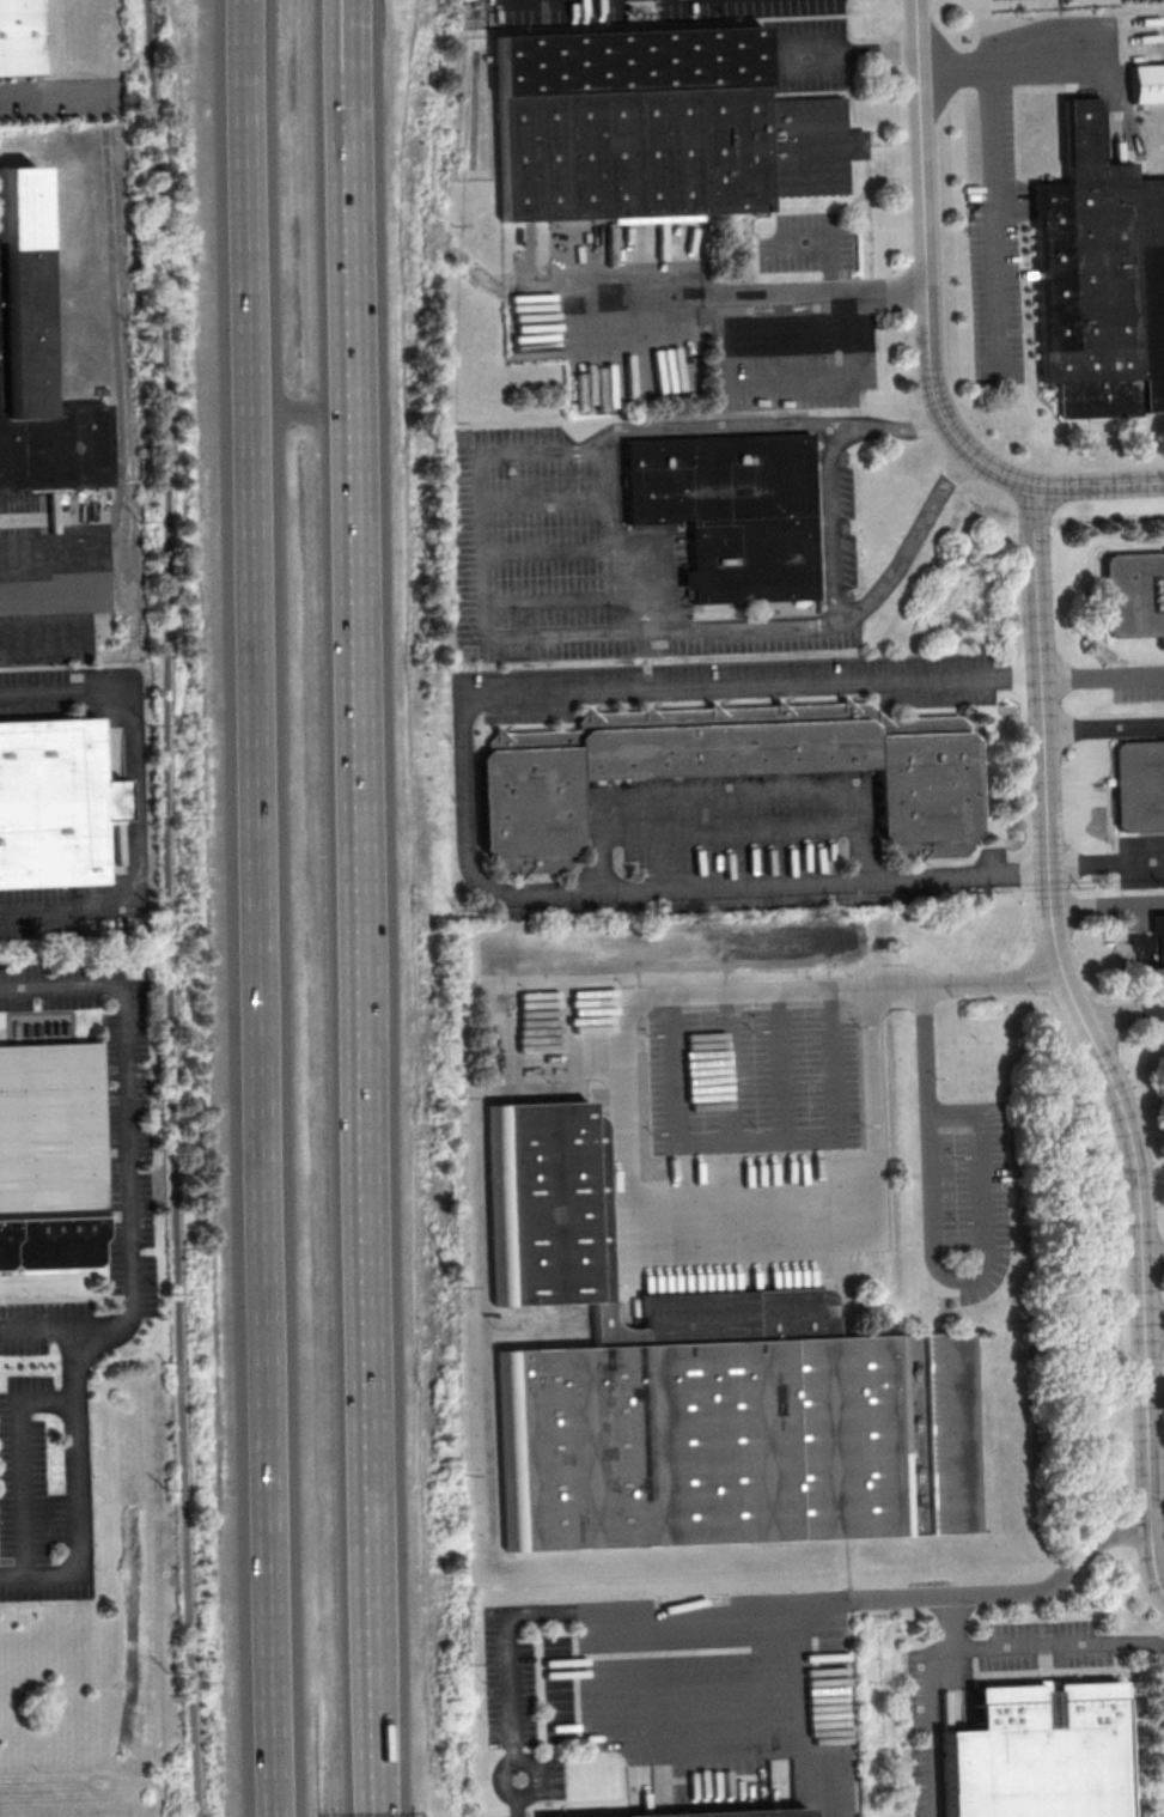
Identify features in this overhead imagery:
road: (574, 4)
building: (19, 39)
road: (345, 39)
road: (348, 39)
road: (855, 55)
road: (1011, 62)
building: (1147, 85)
road: (38, 93)
building: (654, 127)
road: (993, 218)
road: (823, 235)
road: (352, 245)
building: (1101, 276)
road: (812, 287)
road: (617, 296)
road: (926, 333)
road: (621, 345)
building: (36, 371)
road: (751, 381)
road: (303, 412)
road: (723, 430)
road: (543, 498)
building: (732, 513)
road: (611, 546)
road: (546, 548)
road: (481, 552)
road: (830, 578)
road: (38, 589)
building: (1134, 595)
road: (548, 600)
road: (746, 627)
road: (65, 639)
road: (1103, 674)
road: (1104, 725)
building: (726, 770)
building: (1139, 788)
road: (461, 791)
road: (729, 794)
road: (135, 801)
building: (50, 806)
road: (730, 832)
parking lot: (729, 863)
road: (1107, 869)
road: (170, 907)
road: (1109, 907)
road: (258, 908)
building: (1148, 950)
road: (362, 999)
road: (1123, 1011)
road: (1092, 1038)
road: (782, 1069)
road: (730, 1071)
road: (754, 1141)
road: (627, 1147)
building: (50, 1155)
road: (1153, 1258)
road: (932, 1264)
road: (138, 1274)
road: (1154, 1323)
road: (45, 1335)
building: (705, 1388)
road: (25, 1467)
road: (1011, 1591)
road: (575, 1611)
road: (1032, 1647)
road: (374, 1703)
road: (931, 1727)
road: (697, 1728)
building: (1035, 1755)
road: (810, 1767)
building: (571, 1781)
building: (739, 1813)

